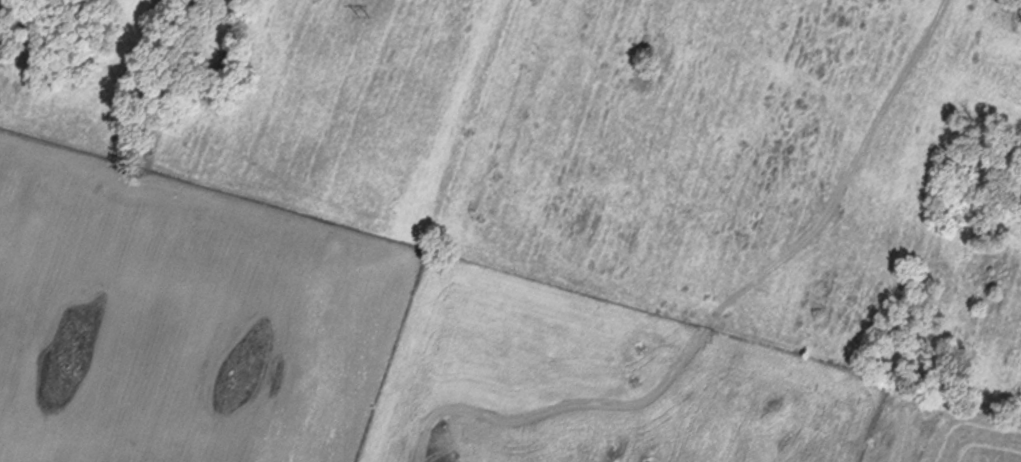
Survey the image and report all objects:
power tower: (362, 14)

